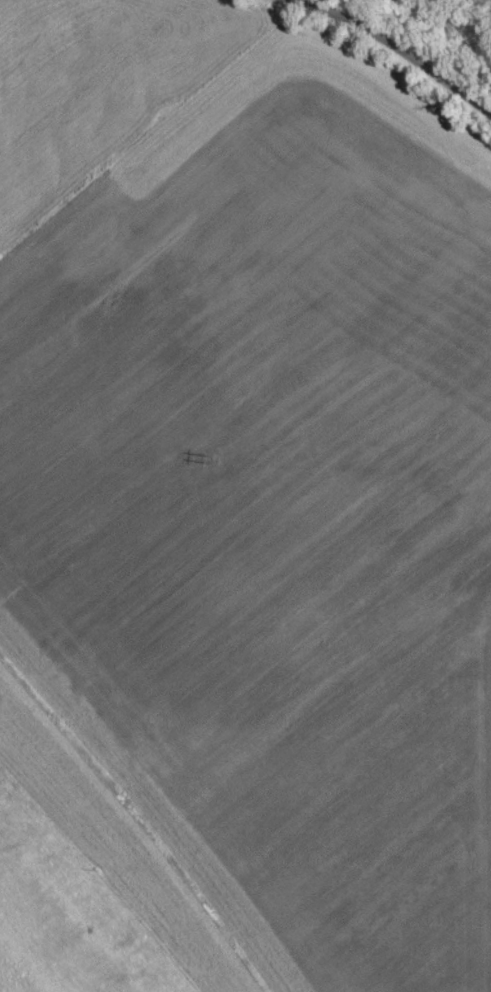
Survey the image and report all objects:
road: (393, 44)

